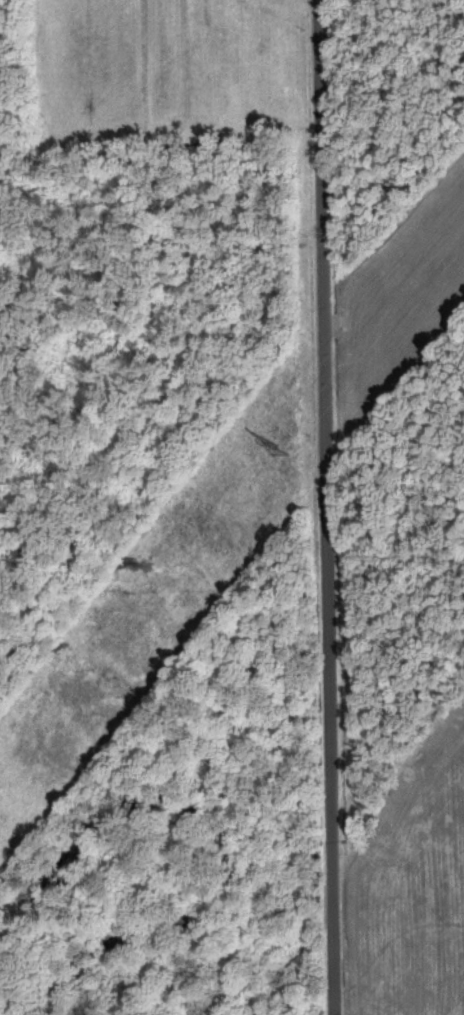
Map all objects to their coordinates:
power tower: (277, 445)
road: (328, 507)

